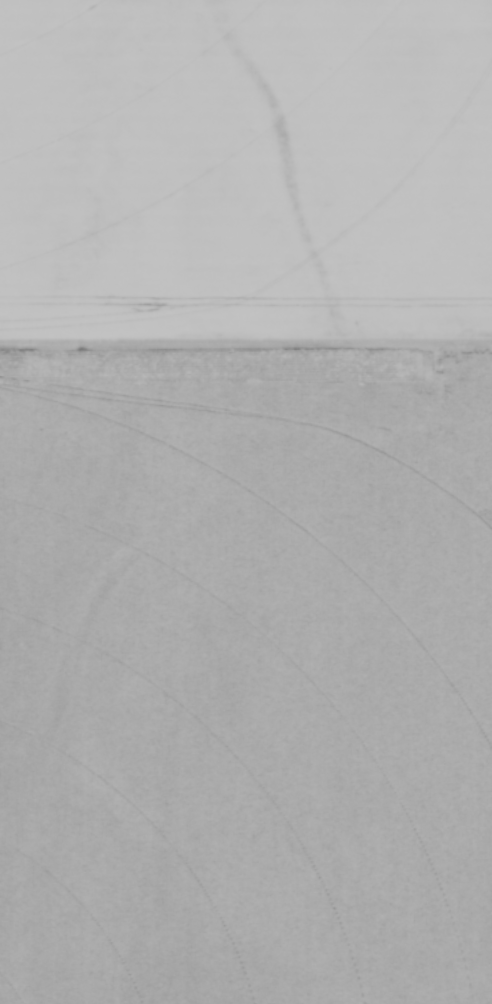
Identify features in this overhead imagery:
road: (245, 345)
crop: (246, 502)

